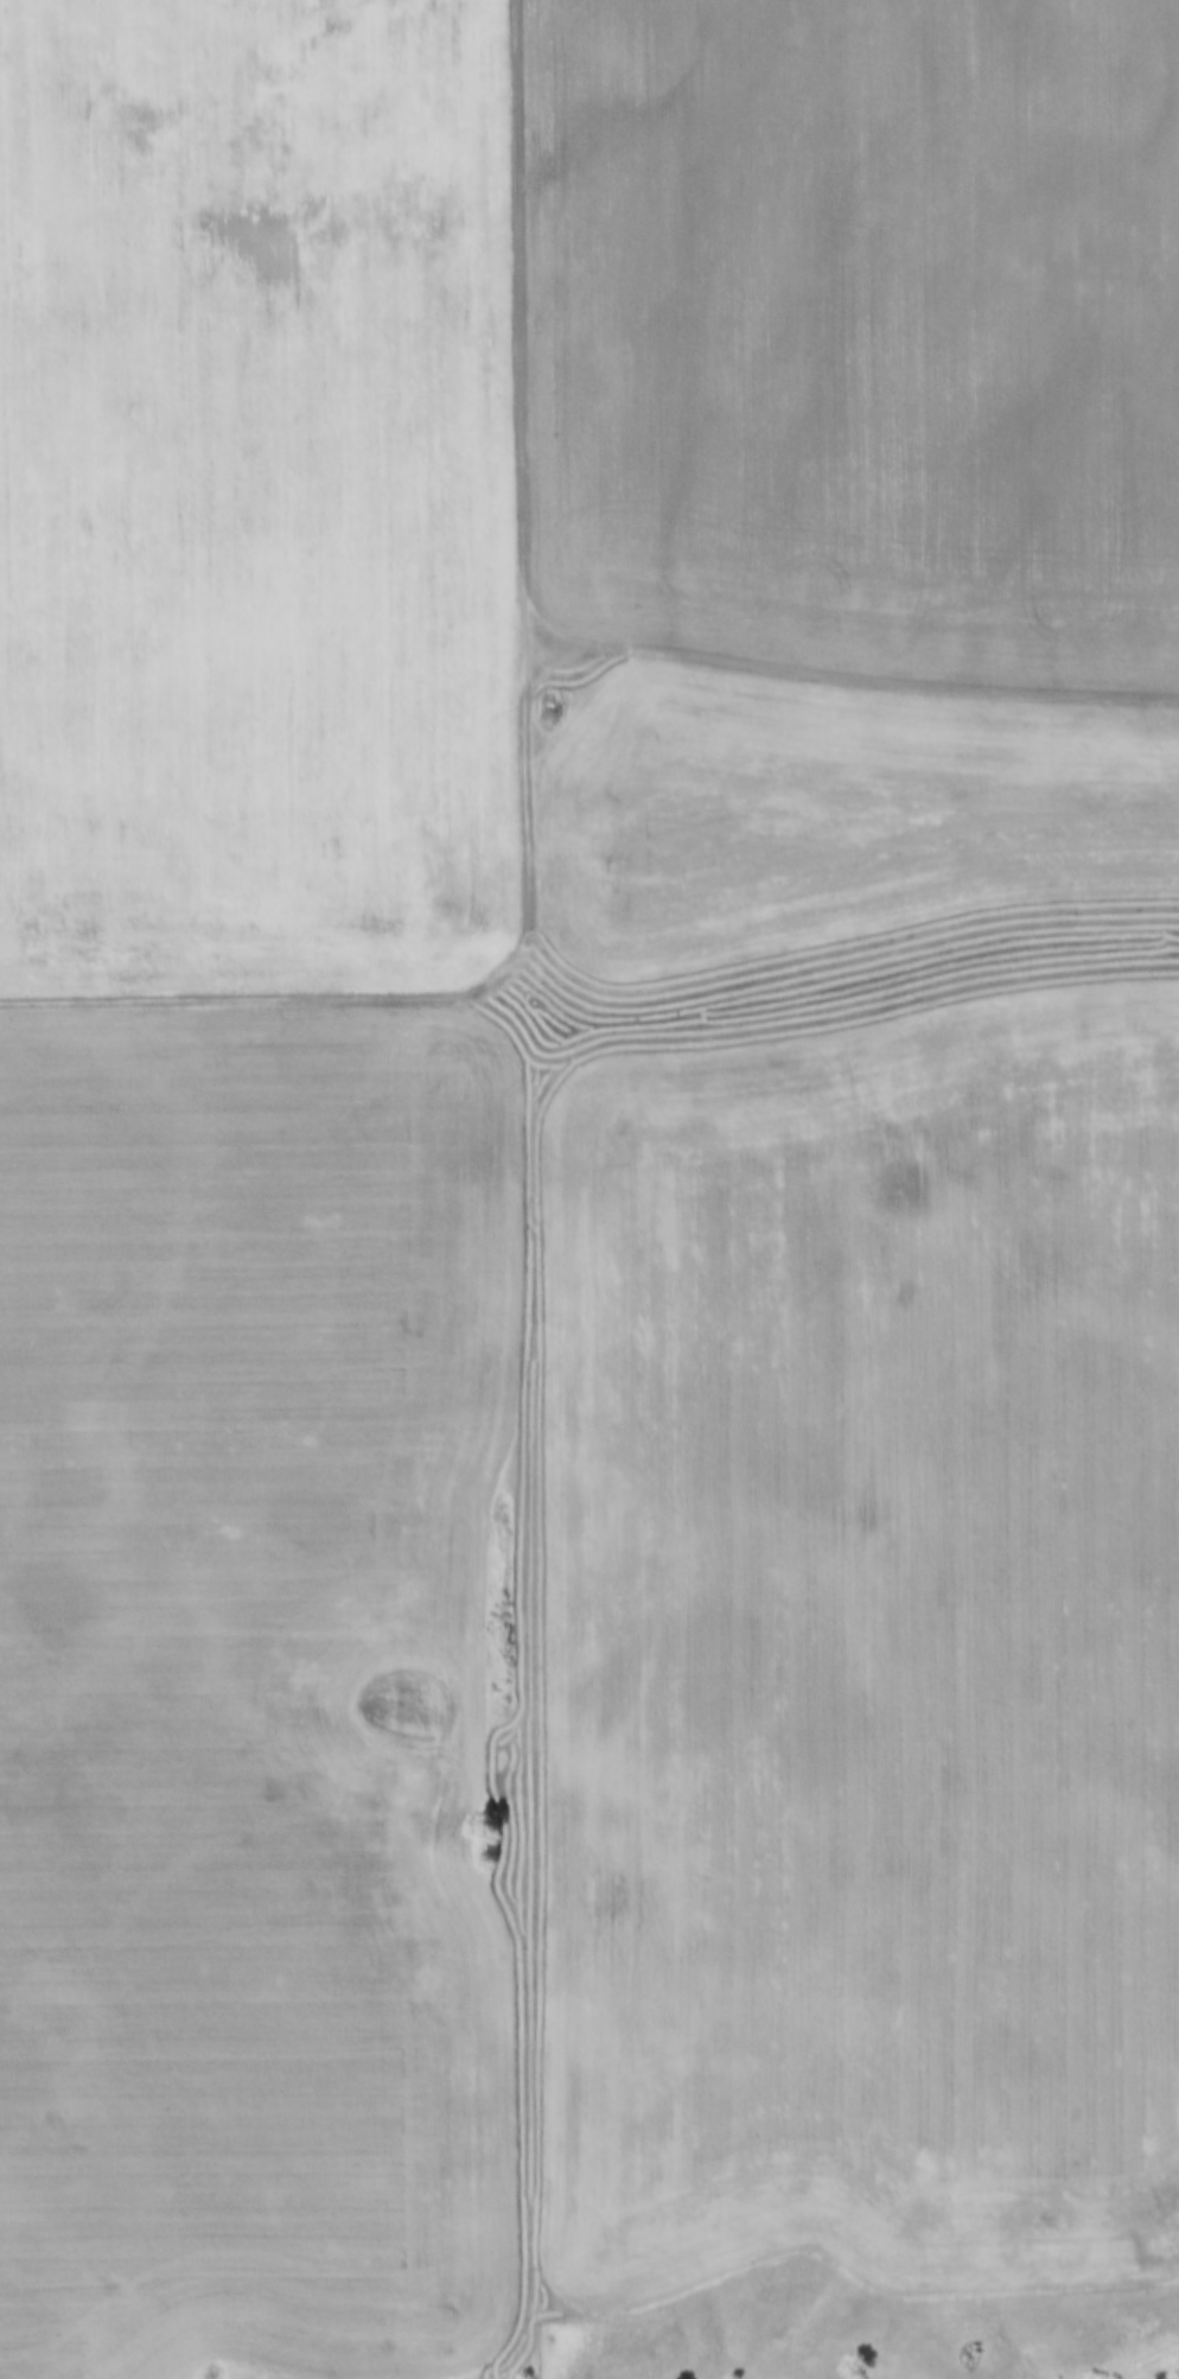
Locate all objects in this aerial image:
road: (520, 498)
road: (839, 679)
road: (251, 993)

